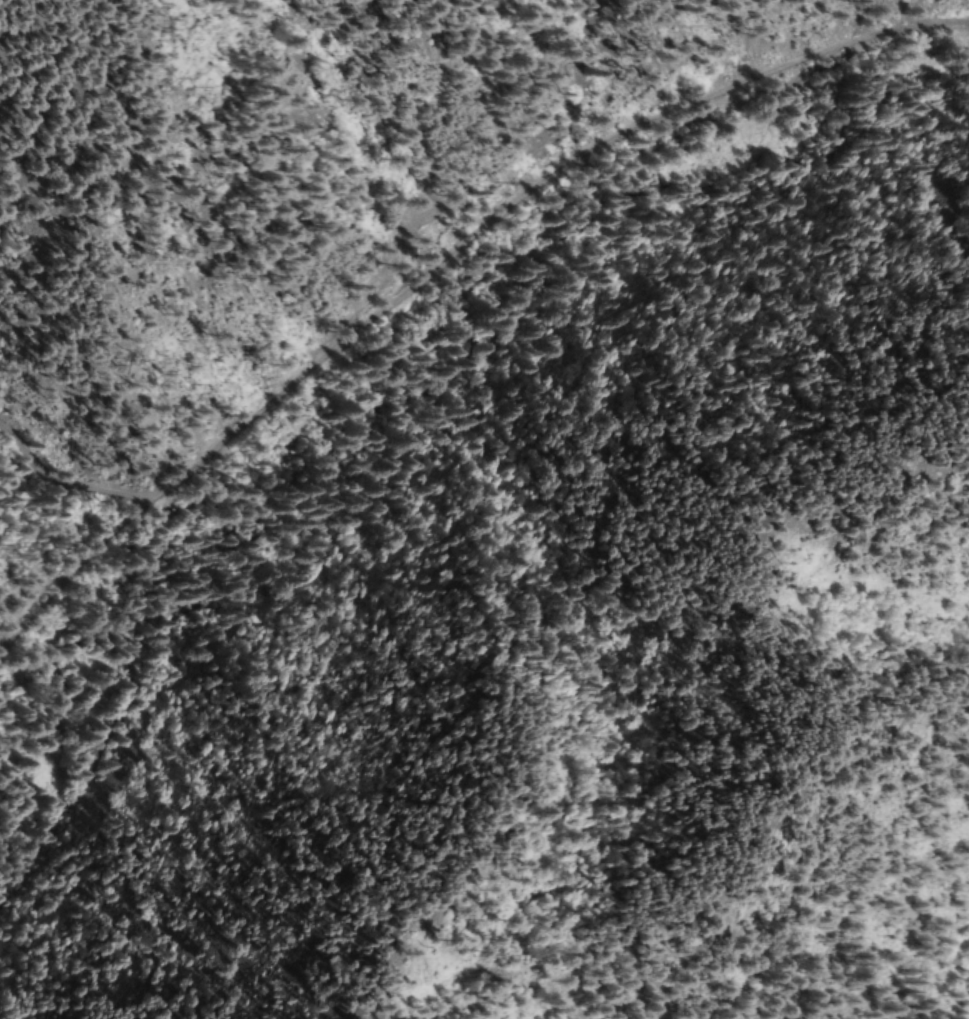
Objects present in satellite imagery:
road: (445, 274)

